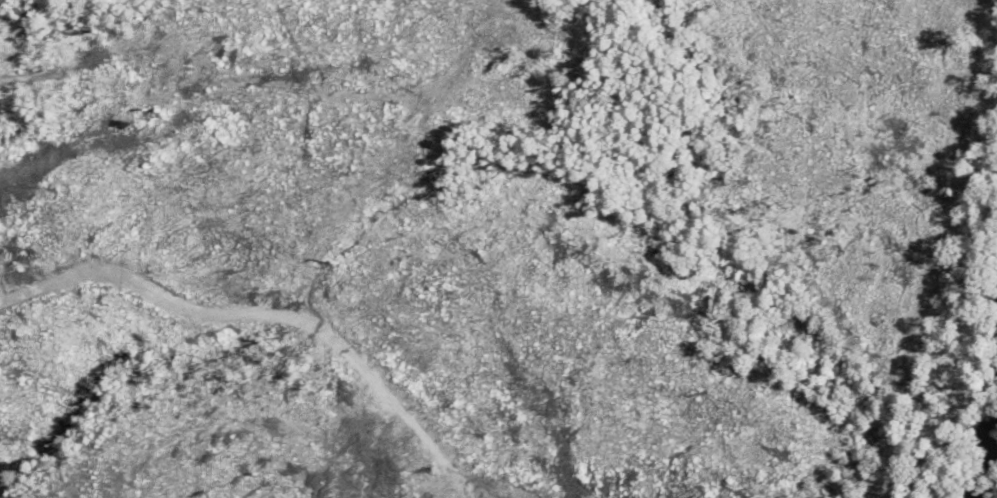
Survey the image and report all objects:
river: (991, 473)

